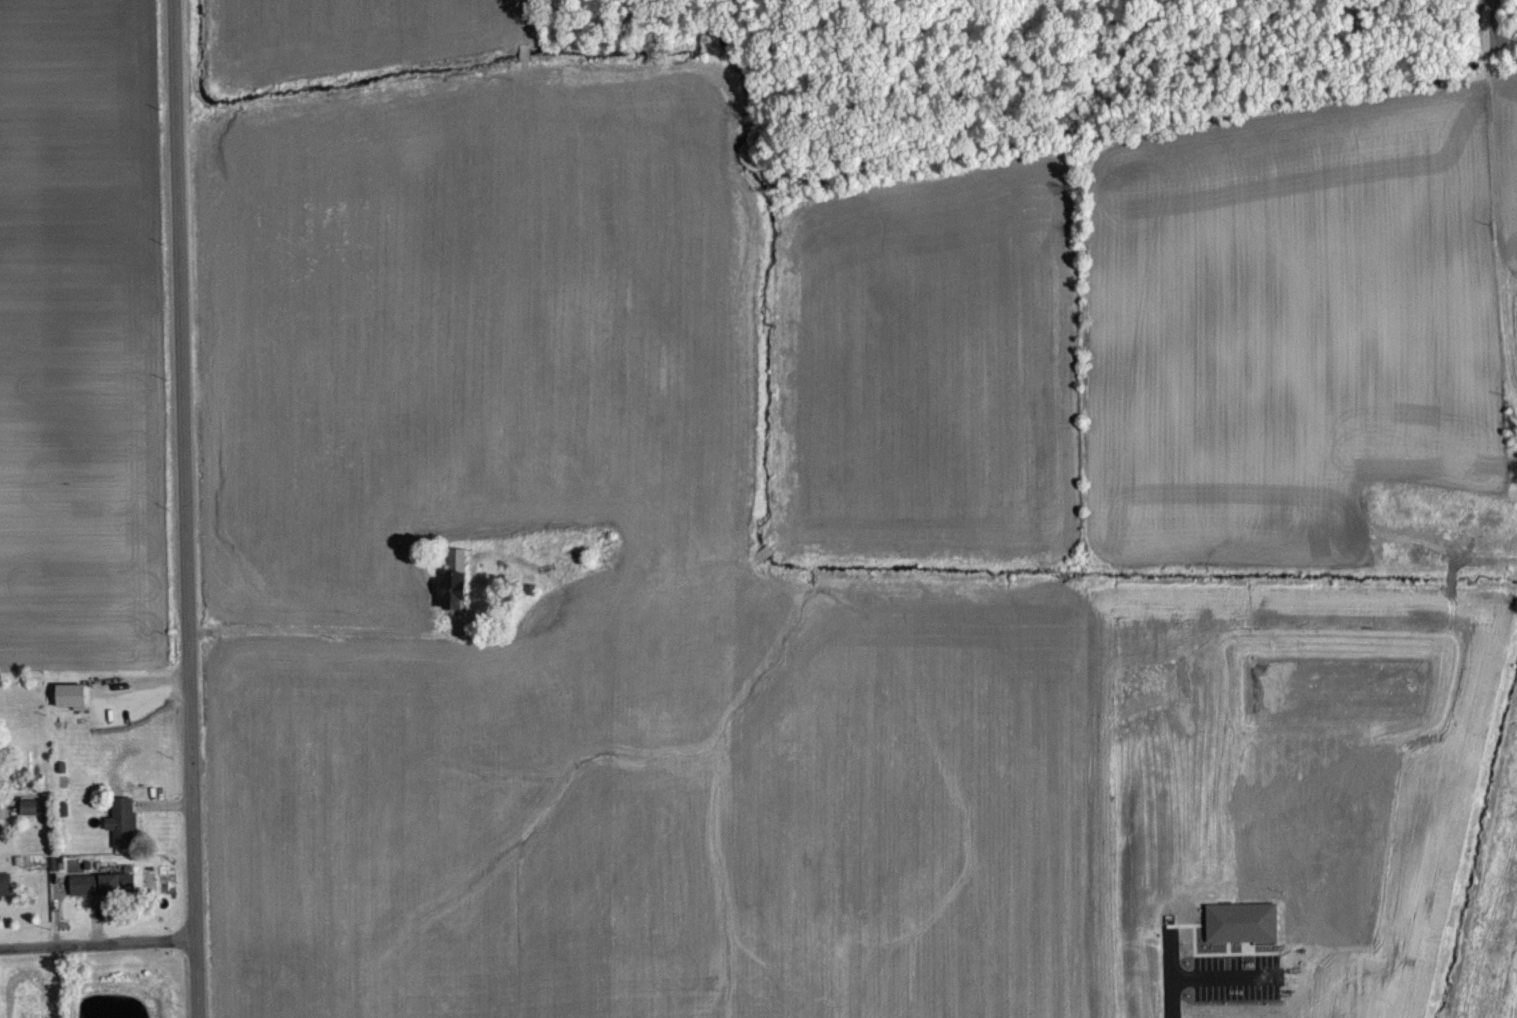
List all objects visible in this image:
road: (181, 509)
building: (453, 578)
road: (326, 630)
building: (71, 694)
building: (73, 707)
building: (62, 779)
building: (27, 805)
building: (62, 807)
building: (29, 818)
building: (121, 820)
building: (51, 862)
building: (86, 863)
building: (59, 864)
building: (102, 882)
building: (4, 883)
building: (103, 895)
building: (1240, 921)
road: (96, 941)
road: (1168, 971)
parking lot: (1235, 975)
road: (1225, 976)

